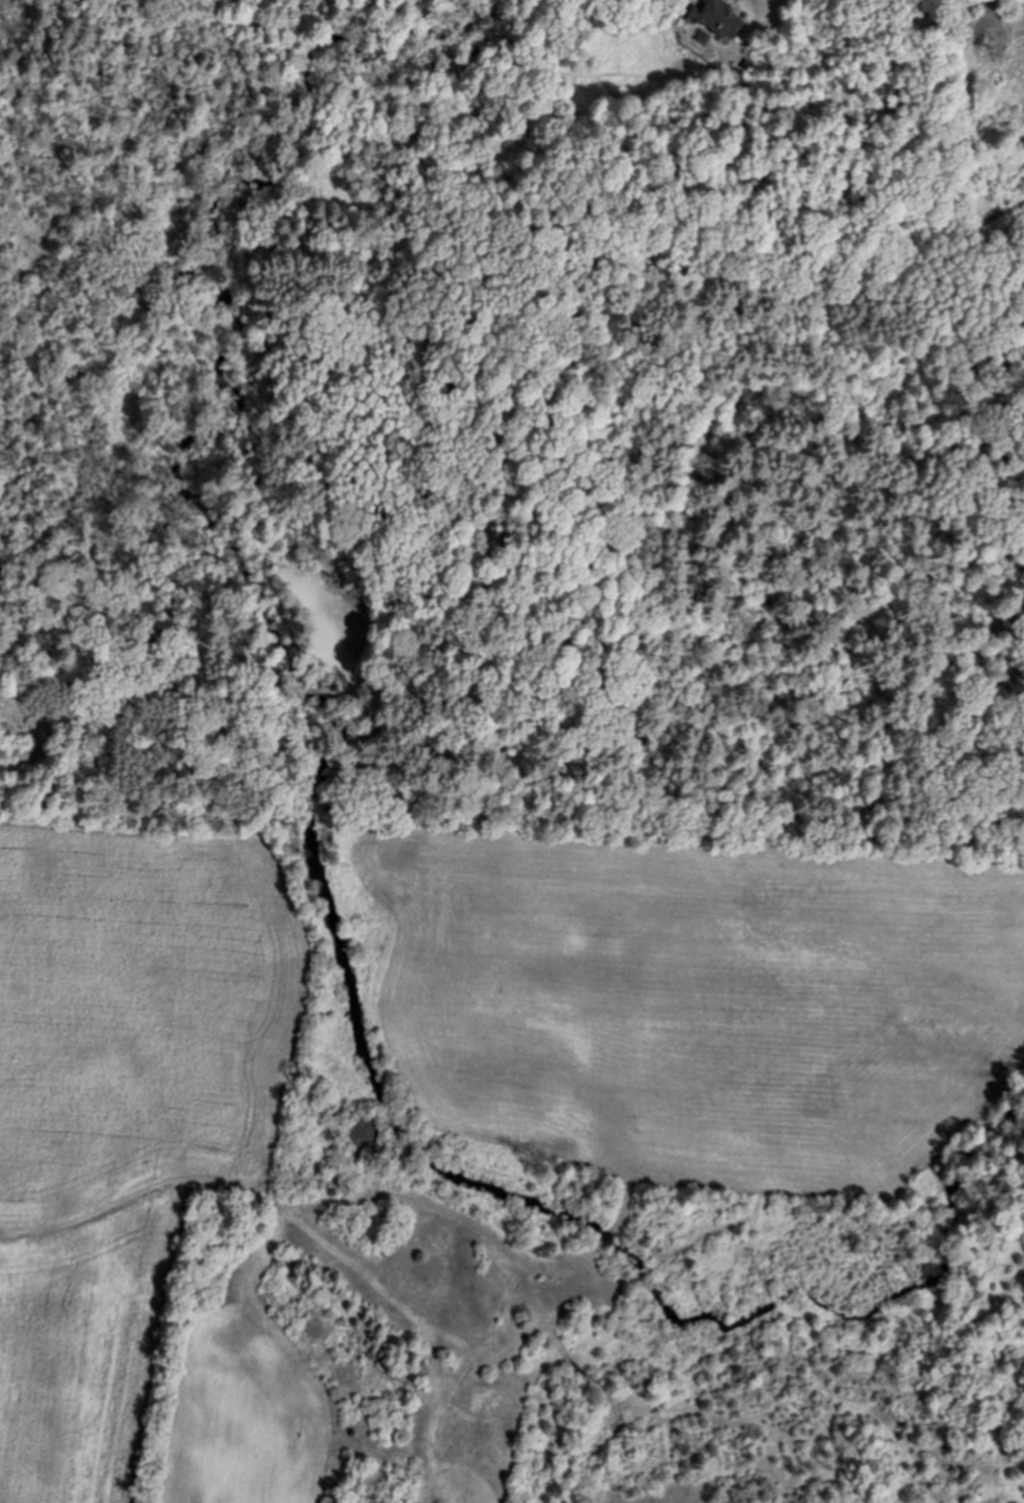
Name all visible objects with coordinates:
building: (716, 19)
river: (740, 282)

